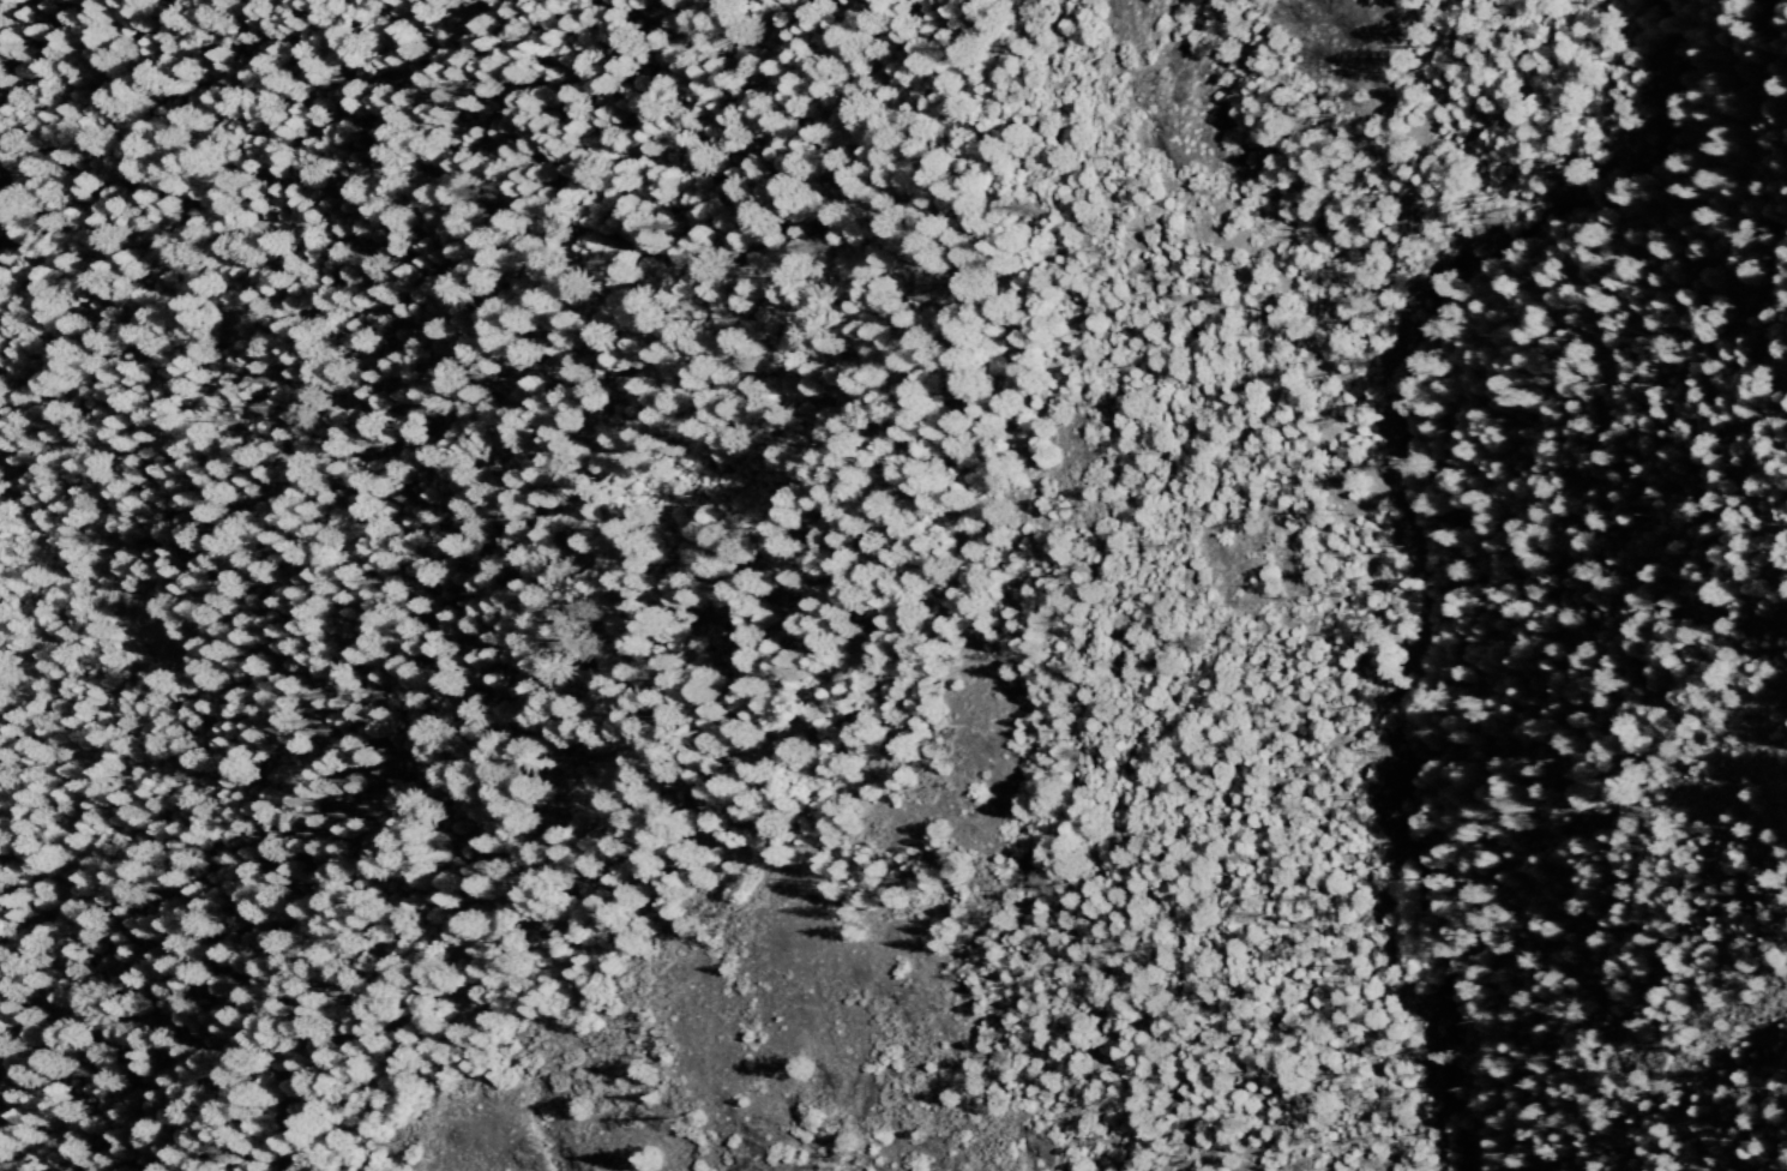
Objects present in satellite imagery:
road: (36, 42)
road: (554, 235)
road: (38, 257)
road: (1586, 1045)
road: (4, 1117)

